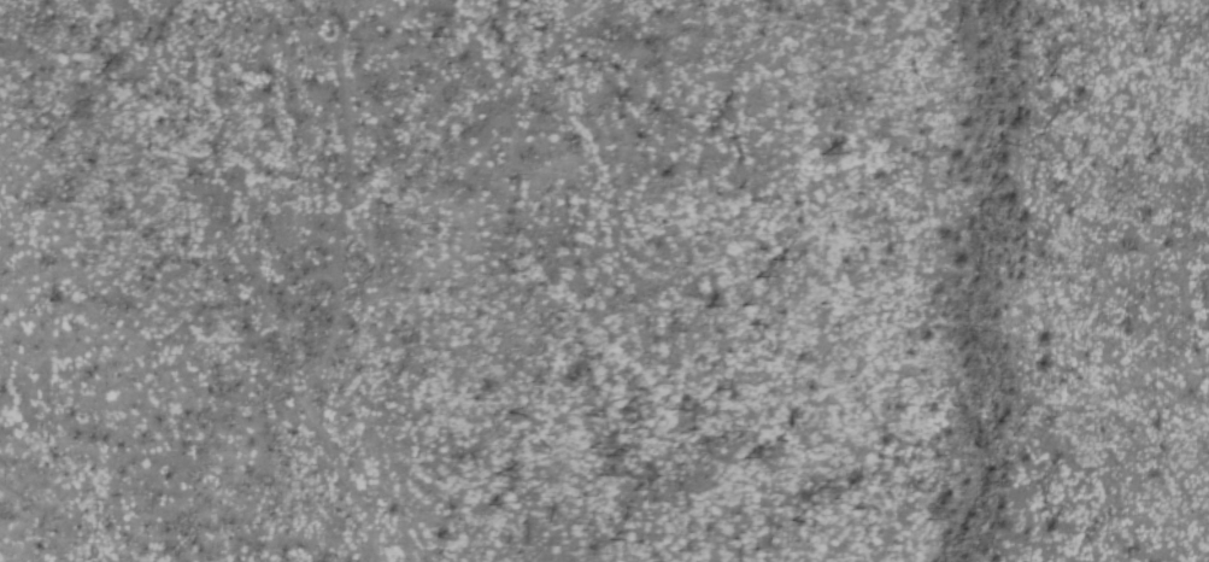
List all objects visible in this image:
road: (331, 292)

